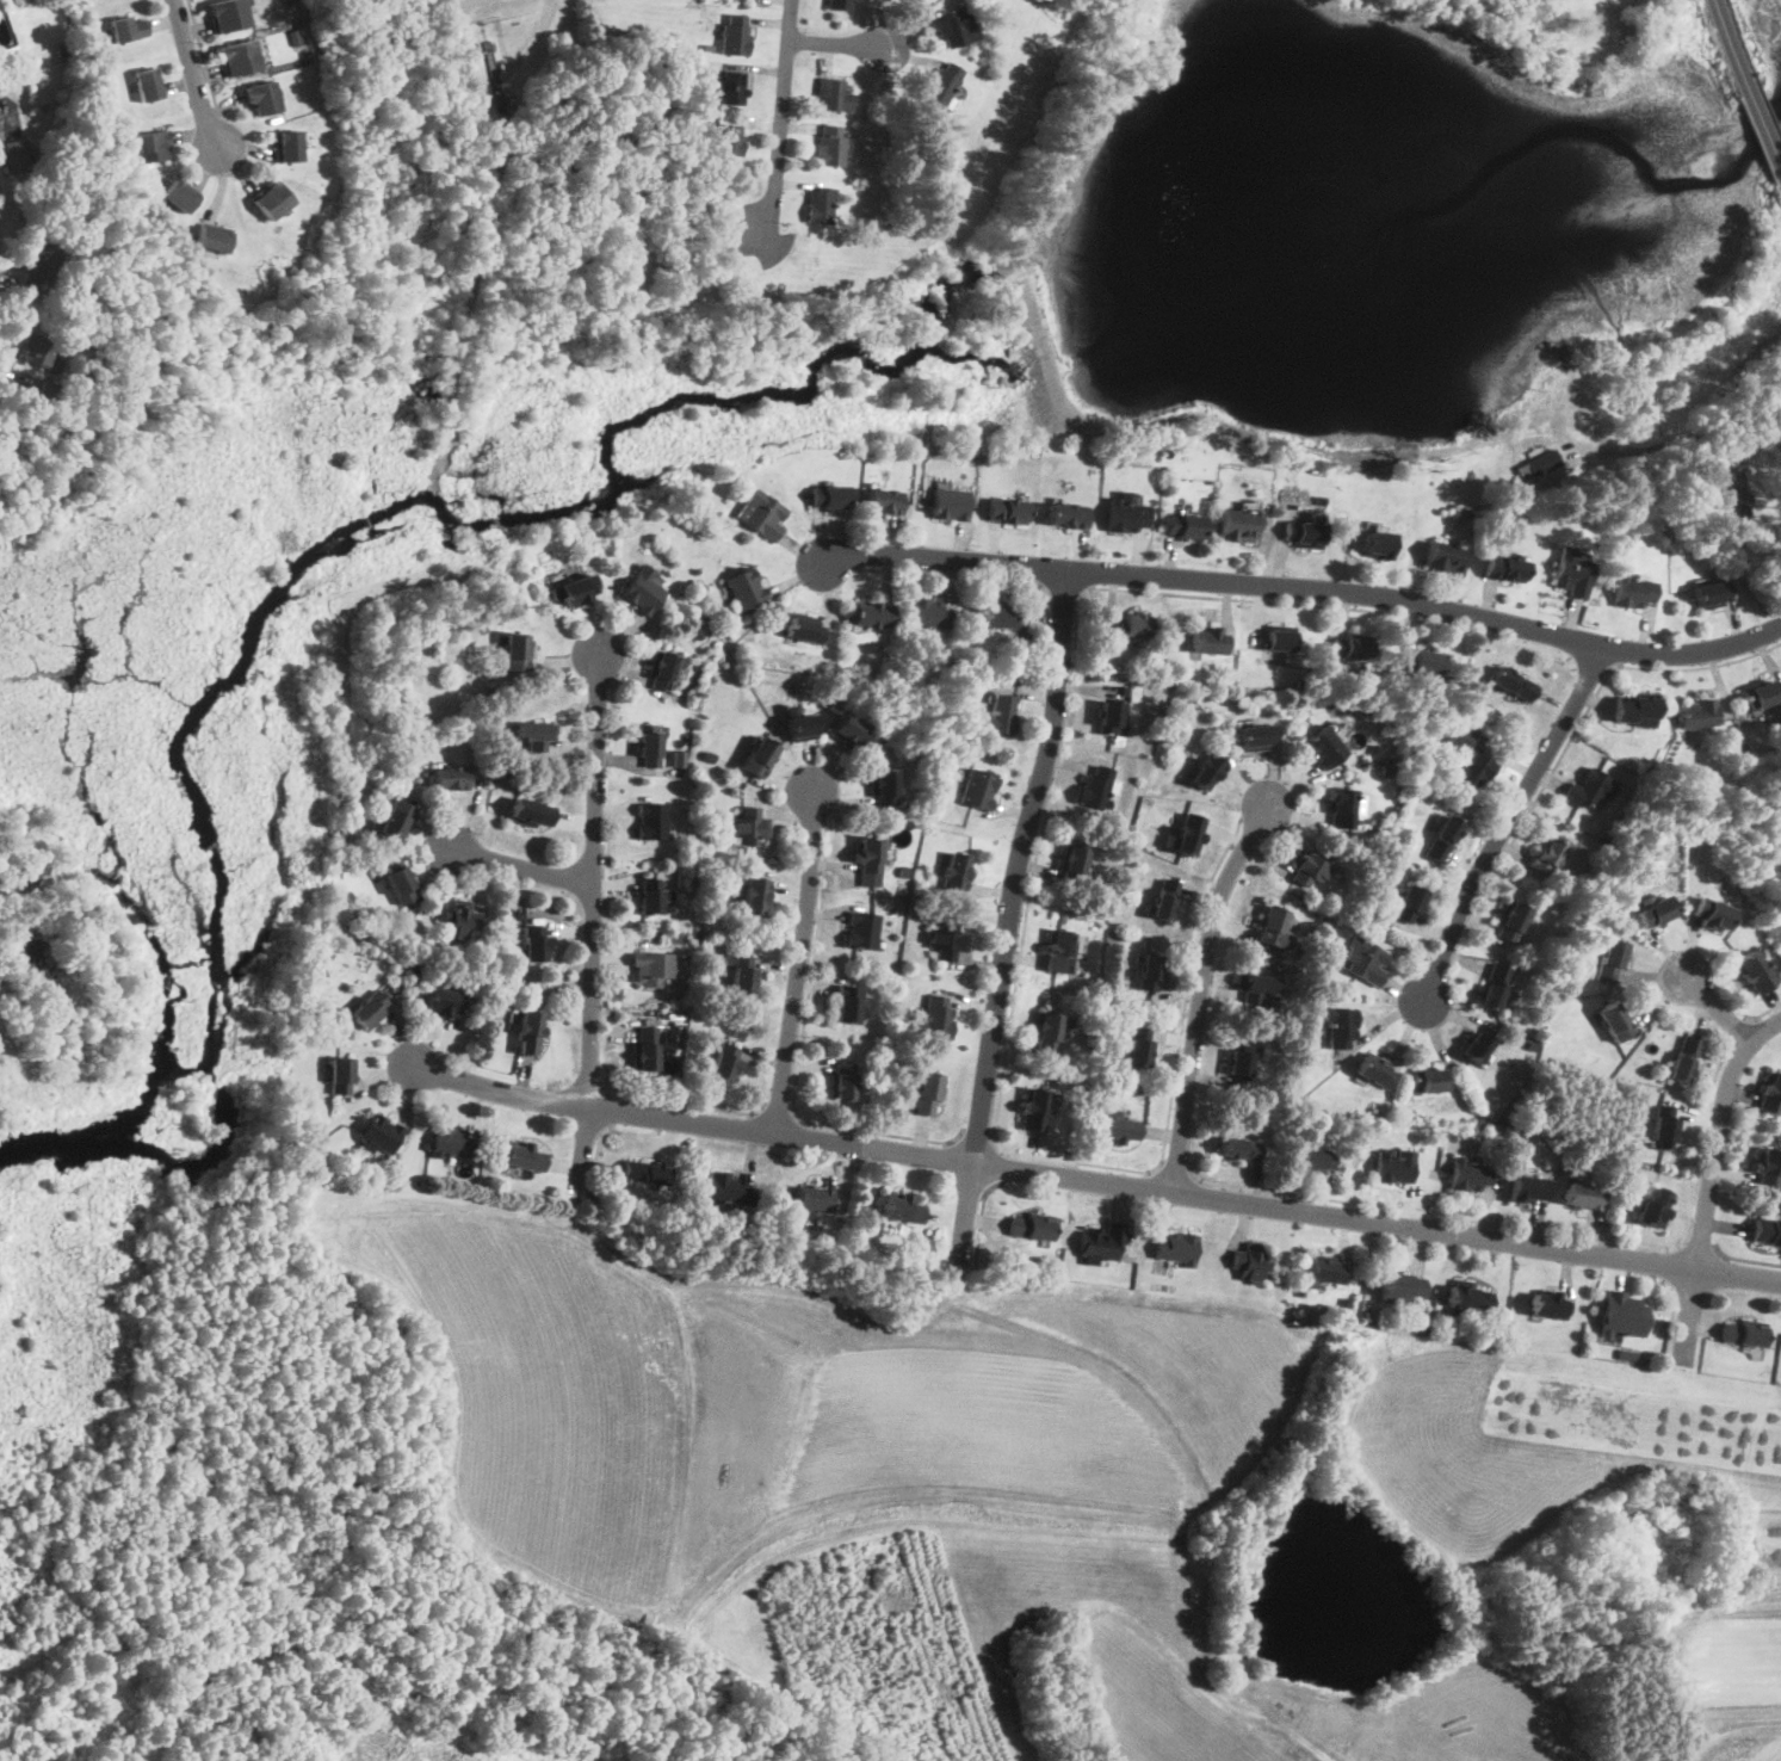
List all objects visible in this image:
building: (919, 0)
building: (289, 1)
building: (839, 5)
building: (228, 16)
building: (129, 29)
building: (957, 30)
building: (295, 37)
building: (735, 37)
building: (5, 38)
road: (837, 44)
building: (8, 50)
road: (204, 55)
building: (240, 57)
road: (193, 75)
road: (1748, 84)
building: (150, 85)
building: (944, 85)
building: (731, 88)
building: (69, 89)
building: (833, 95)
building: (262, 98)
building: (695, 117)
road: (781, 119)
building: (0, 137)
building: (729, 141)
building: (154, 147)
building: (289, 147)
building: (829, 148)
building: (37, 155)
building: (18, 156)
building: (183, 196)
building: (271, 200)
building: (821, 206)
building: (214, 239)
building: (47, 262)
road: (5, 274)
building: (81, 288)
building: (39, 350)
road: (5, 375)
building: (50, 393)
road: (1757, 433)
road: (1678, 439)
building: (1117, 462)
building: (1541, 465)
building: (1697, 468)
building: (830, 498)
building: (886, 502)
building: (1727, 502)
building: (951, 505)
building: (1743, 509)
building: (1009, 512)
building: (762, 515)
building: (1069, 517)
building: (1126, 517)
building: (1238, 526)
building: (1186, 527)
building: (712, 529)
building: (1304, 535)
building: (1379, 546)
building: (1447, 557)
building: (1505, 569)
building: (1575, 574)
road: (958, 575)
road: (1305, 588)
building: (747, 589)
road: (1064, 589)
building: (579, 592)
building: (1633, 593)
building: (644, 594)
building: (1713, 595)
building: (872, 616)
building: (929, 616)
building: (1003, 617)
building: (1136, 626)
building: (805, 629)
building: (699, 634)
building: (731, 634)
building: (1280, 639)
building: (1044, 641)
building: (1208, 642)
building: (1353, 648)
building: (517, 653)
building: (1429, 663)
road: (1594, 665)
building: (664, 672)
building: (1515, 685)
building: (1127, 690)
building: (1412, 694)
building: (1763, 696)
road: (1075, 698)
building: (1639, 709)
building: (1002, 716)
building: (1699, 716)
building: (1112, 717)
building: (1403, 721)
building: (421, 722)
building: (802, 729)
building: (536, 735)
building: (852, 735)
building: (1259, 739)
building: (1460, 739)
building: (650, 747)
road: (1566, 747)
building: (1327, 748)
building: (1742, 748)
building: (680, 758)
building: (710, 759)
building: (760, 759)
building: (1386, 771)
building: (1210, 772)
building: (1472, 773)
building: (452, 779)
building: (884, 787)
building: (979, 790)
building: (1097, 790)
building: (1591, 790)
building: (1344, 808)
building: (532, 814)
building: (396, 821)
building: (654, 823)
road: (1508, 824)
building: (750, 827)
building: (1191, 836)
building: (1443, 840)
building: (1387, 846)
building: (868, 855)
building: (740, 858)
building: (1547, 858)
building: (1383, 860)
building: (674, 864)
building: (1074, 865)
building: (30, 867)
road: (519, 867)
building: (1309, 867)
building: (908, 871)
building: (957, 873)
building: (401, 883)
road: (6, 884)
building: (651, 897)
building: (756, 897)
building: (56, 898)
building: (1167, 901)
building: (1409, 904)
building: (673, 908)
building: (1540, 910)
building: (1656, 913)
building: (1712, 915)
road: (1010, 916)
building: (1363, 917)
building: (462, 920)
building: (1511, 921)
building: (1272, 926)
road: (592, 928)
building: (864, 932)
building: (674, 937)
building: (642, 941)
building: (536, 943)
building: (948, 943)
building: (438, 951)
building: (1060, 952)
building: (328, 956)
road: (607, 957)
road: (799, 957)
building: (25, 958)
building: (1366, 962)
building: (1612, 962)
road: (812, 968)
building: (654, 969)
building: (1152, 972)
building: (1754, 972)
building: (744, 980)
road: (1202, 988)
building: (1256, 988)
building: (1495, 988)
road: (1187, 989)
building: (1096, 990)
building: (482, 1000)
building: (445, 1002)
building: (848, 1005)
road: (1715, 1005)
building: (371, 1011)
building: (629, 1013)
road: (1763, 1014)
building: (938, 1018)
building: (1615, 1021)
building: (1342, 1027)
road: (1736, 1030)
building: (531, 1032)
building: (1047, 1034)
building: (1533, 1045)
building: (1478, 1046)
building: (1142, 1049)
building: (647, 1050)
building: (1686, 1059)
building: (1242, 1061)
building: (725, 1064)
building: (1377, 1071)
building: (342, 1076)
building: (1431, 1081)
building: (845, 1082)
building: (929, 1094)
building: (1771, 1096)
road: (611, 1108)
building: (1035, 1111)
road: (778, 1112)
building: (1665, 1127)
building: (1120, 1131)
road: (882, 1132)
building: (381, 1136)
building: (1437, 1136)
building: (1451, 1137)
road: (976, 1141)
road: (1703, 1142)
building: (452, 1143)
building: (426, 1144)
building: (1241, 1150)
road: (598, 1155)
building: (525, 1158)
building: (1315, 1161)
road: (998, 1164)
building: (1769, 1168)
building: (1393, 1169)
road: (1175, 1173)
building: (645, 1174)
building: (1471, 1175)
road: (1095, 1181)
road: (1711, 1184)
building: (1530, 1190)
building: (728, 1191)
building: (1584, 1197)
building: (814, 1200)
building: (903, 1210)
building: (1655, 1210)
road: (1431, 1215)
road: (983, 1217)
building: (1032, 1226)
building: (1768, 1232)
building: (1102, 1242)
road: (1701, 1248)
building: (1179, 1249)
road: (1745, 1261)
building: (1251, 1262)
road: (1668, 1266)
building: (1325, 1271)
building: (1402, 1286)
building: (1468, 1298)
building: (1347, 1300)
building: (1550, 1306)
building: (1369, 1315)
building: (1624, 1316)
road: (1672, 1316)
building: (1426, 1323)
building: (1745, 1334)
building: (1630, 1357)

